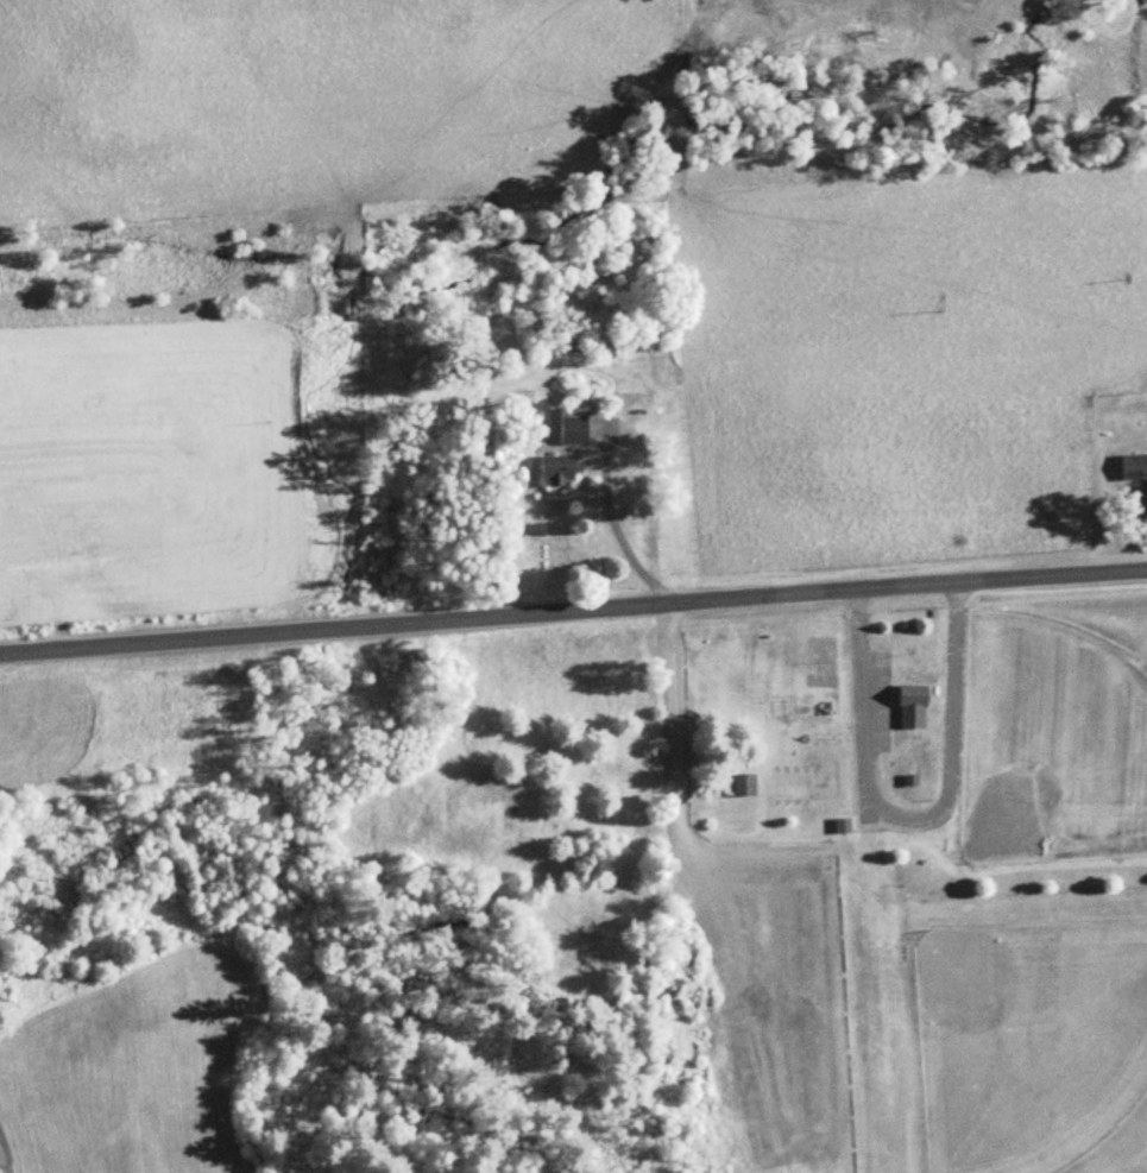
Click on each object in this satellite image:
building: (568, 425)
building: (1132, 466)
building: (552, 467)
road: (573, 607)
building: (908, 706)
building: (740, 786)
park: (896, 890)

